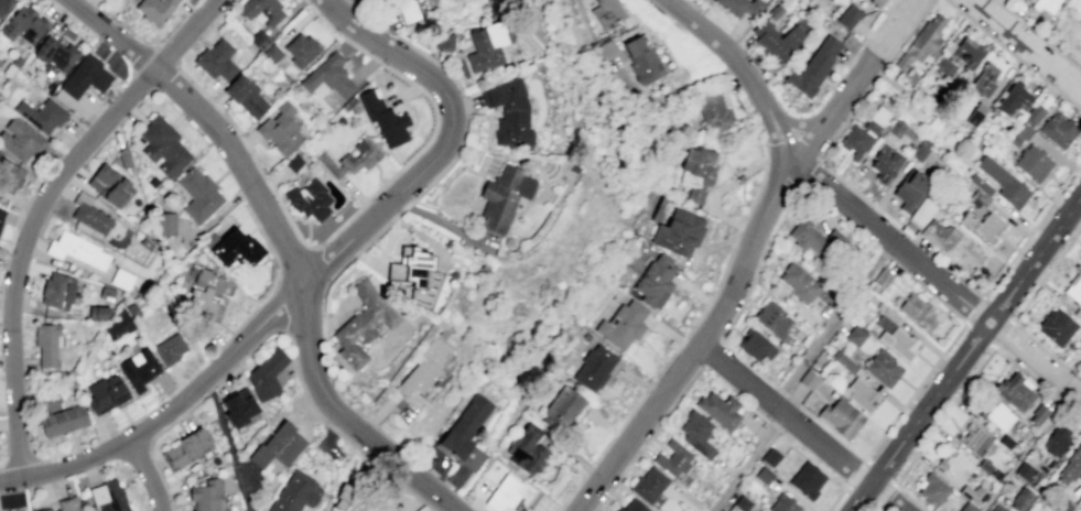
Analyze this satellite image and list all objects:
building: (875, 2)
building: (3, 3)
building: (1044, 4)
building: (739, 7)
building: (263, 9)
building: (156, 10)
building: (402, 10)
building: (774, 11)
building: (608, 12)
building: (847, 17)
building: (24, 22)
road: (1049, 25)
road: (896, 28)
road: (1038, 35)
building: (260, 37)
building: (775, 40)
building: (443, 42)
road: (863, 42)
building: (486, 43)
building: (921, 43)
road: (721, 44)
road: (1025, 45)
building: (303, 47)
building: (57, 51)
building: (273, 52)
building: (968, 53)
road: (1013, 55)
building: (217, 57)
building: (644, 59)
building: (13, 63)
building: (941, 66)
building: (813, 67)
building: (331, 74)
building: (84, 77)
building: (983, 78)
building: (938, 89)
road: (850, 90)
building: (246, 91)
building: (1013, 98)
building: (509, 108)
building: (714, 111)
building: (42, 112)
building: (974, 113)
building: (1033, 115)
building: (386, 117)
building: (875, 120)
road: (842, 121)
road: (212, 122)
road: (790, 123)
building: (282, 127)
building: (895, 127)
building: (1057, 129)
road: (778, 130)
building: (1019, 133)
building: (22, 138)
road: (810, 141)
building: (854, 141)
building: (164, 144)
building: (919, 149)
building: (353, 156)
road: (765, 159)
building: (294, 161)
building: (1033, 163)
building: (884, 164)
road: (727, 165)
road: (717, 166)
building: (698, 172)
road: (807, 172)
building: (10, 175)
road: (738, 176)
building: (154, 181)
building: (110, 183)
building: (1002, 183)
building: (980, 184)
road: (723, 187)
building: (909, 189)
building: (199, 193)
road: (741, 194)
road: (755, 194)
building: (502, 197)
building: (977, 197)
building: (311, 198)
road: (364, 203)
road: (39, 208)
road: (780, 209)
building: (1, 211)
building: (89, 211)
road: (437, 219)
building: (169, 222)
road: (741, 226)
building: (982, 227)
road: (1031, 231)
building: (678, 232)
road: (737, 232)
building: (814, 237)
road: (888, 237)
road: (734, 239)
building: (950, 241)
building: (147, 242)
road: (718, 243)
building: (237, 244)
building: (1080, 247)
building: (77, 248)
road: (882, 252)
building: (1079, 255)
road: (1037, 257)
road: (722, 271)
road: (314, 272)
road: (1046, 273)
building: (417, 275)
building: (122, 276)
building: (882, 278)
building: (655, 281)
building: (798, 283)
building: (57, 289)
road: (927, 289)
building: (1073, 289)
building: (107, 291)
building: (203, 293)
road: (696, 294)
road: (980, 295)
road: (709, 302)
building: (133, 308)
road: (975, 309)
road: (996, 309)
building: (98, 311)
building: (918, 311)
building: (1077, 314)
road: (979, 317)
building: (771, 318)
road: (831, 320)
road: (728, 322)
building: (120, 323)
building: (363, 323)
building: (623, 325)
building: (1056, 326)
road: (996, 328)
road: (1001, 333)
building: (855, 334)
road: (977, 334)
building: (47, 341)
road: (701, 343)
building: (898, 343)
building: (1080, 343)
building: (754, 345)
building: (171, 347)
road: (1046, 350)
building: (845, 362)
road: (1039, 363)
building: (140, 367)
building: (424, 367)
building: (595, 367)
building: (882, 368)
road: (976, 369)
building: (266, 374)
building: (808, 379)
road: (209, 388)
road: (914, 390)
road: (780, 391)
building: (1014, 391)
building: (106, 392)
building: (858, 394)
building: (50, 400)
road: (307, 400)
road: (792, 402)
building: (238, 406)
building: (563, 409)
road: (631, 409)
building: (721, 409)
building: (1038, 415)
building: (840, 416)
building: (998, 416)
road: (347, 417)
building: (63, 418)
road: (918, 420)
building: (465, 425)
road: (801, 427)
building: (698, 433)
building: (972, 438)
road: (150, 442)
building: (1006, 442)
building: (1055, 442)
road: (228, 444)
building: (277, 445)
building: (185, 448)
building: (527, 449)
road: (1026, 450)
building: (772, 455)
building: (673, 457)
road: (746, 461)
building: (1071, 464)
building: (953, 466)
building: (984, 466)
building: (1023, 470)
building: (764, 474)
road: (148, 475)
building: (807, 480)
road: (888, 481)
building: (649, 483)
building: (932, 489)
building: (295, 493)
building: (502, 493)
building: (971, 493)
building: (206, 494)
building: (109, 496)
building: (342, 497)
road: (837, 497)
road: (907, 497)
building: (1019, 499)
building: (743, 502)
building: (782, 503)
building: (1080, 503)
building: (67, 504)
building: (634, 505)
road: (873, 505)
road: (475, 507)
building: (966, 507)
building: (996, 507)
building: (386, 508)
building: (17, 510)
building: (44, 510)

